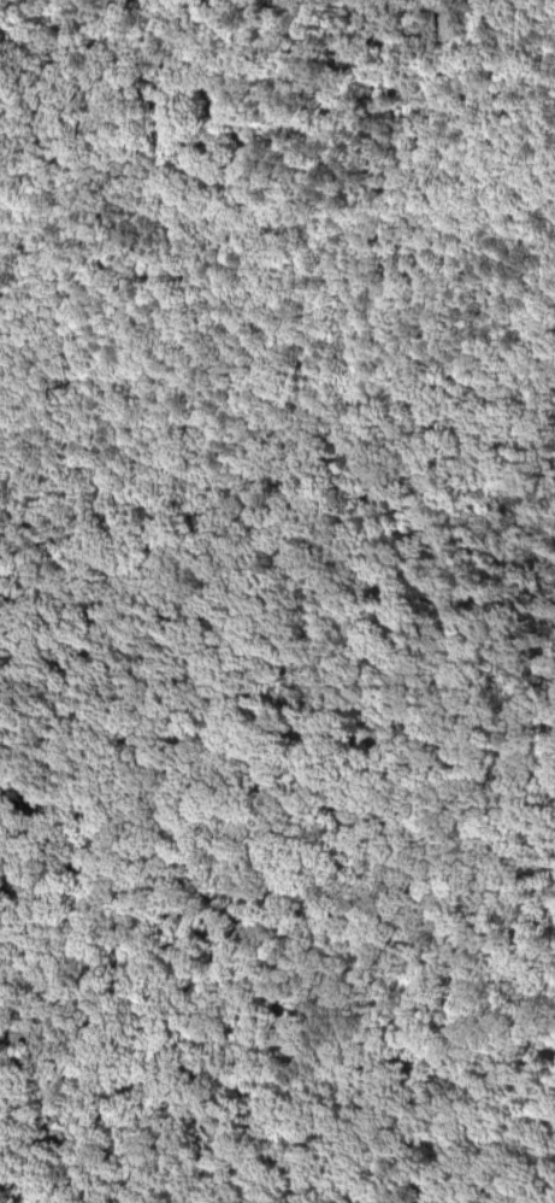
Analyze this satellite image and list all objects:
road: (16, 5)

